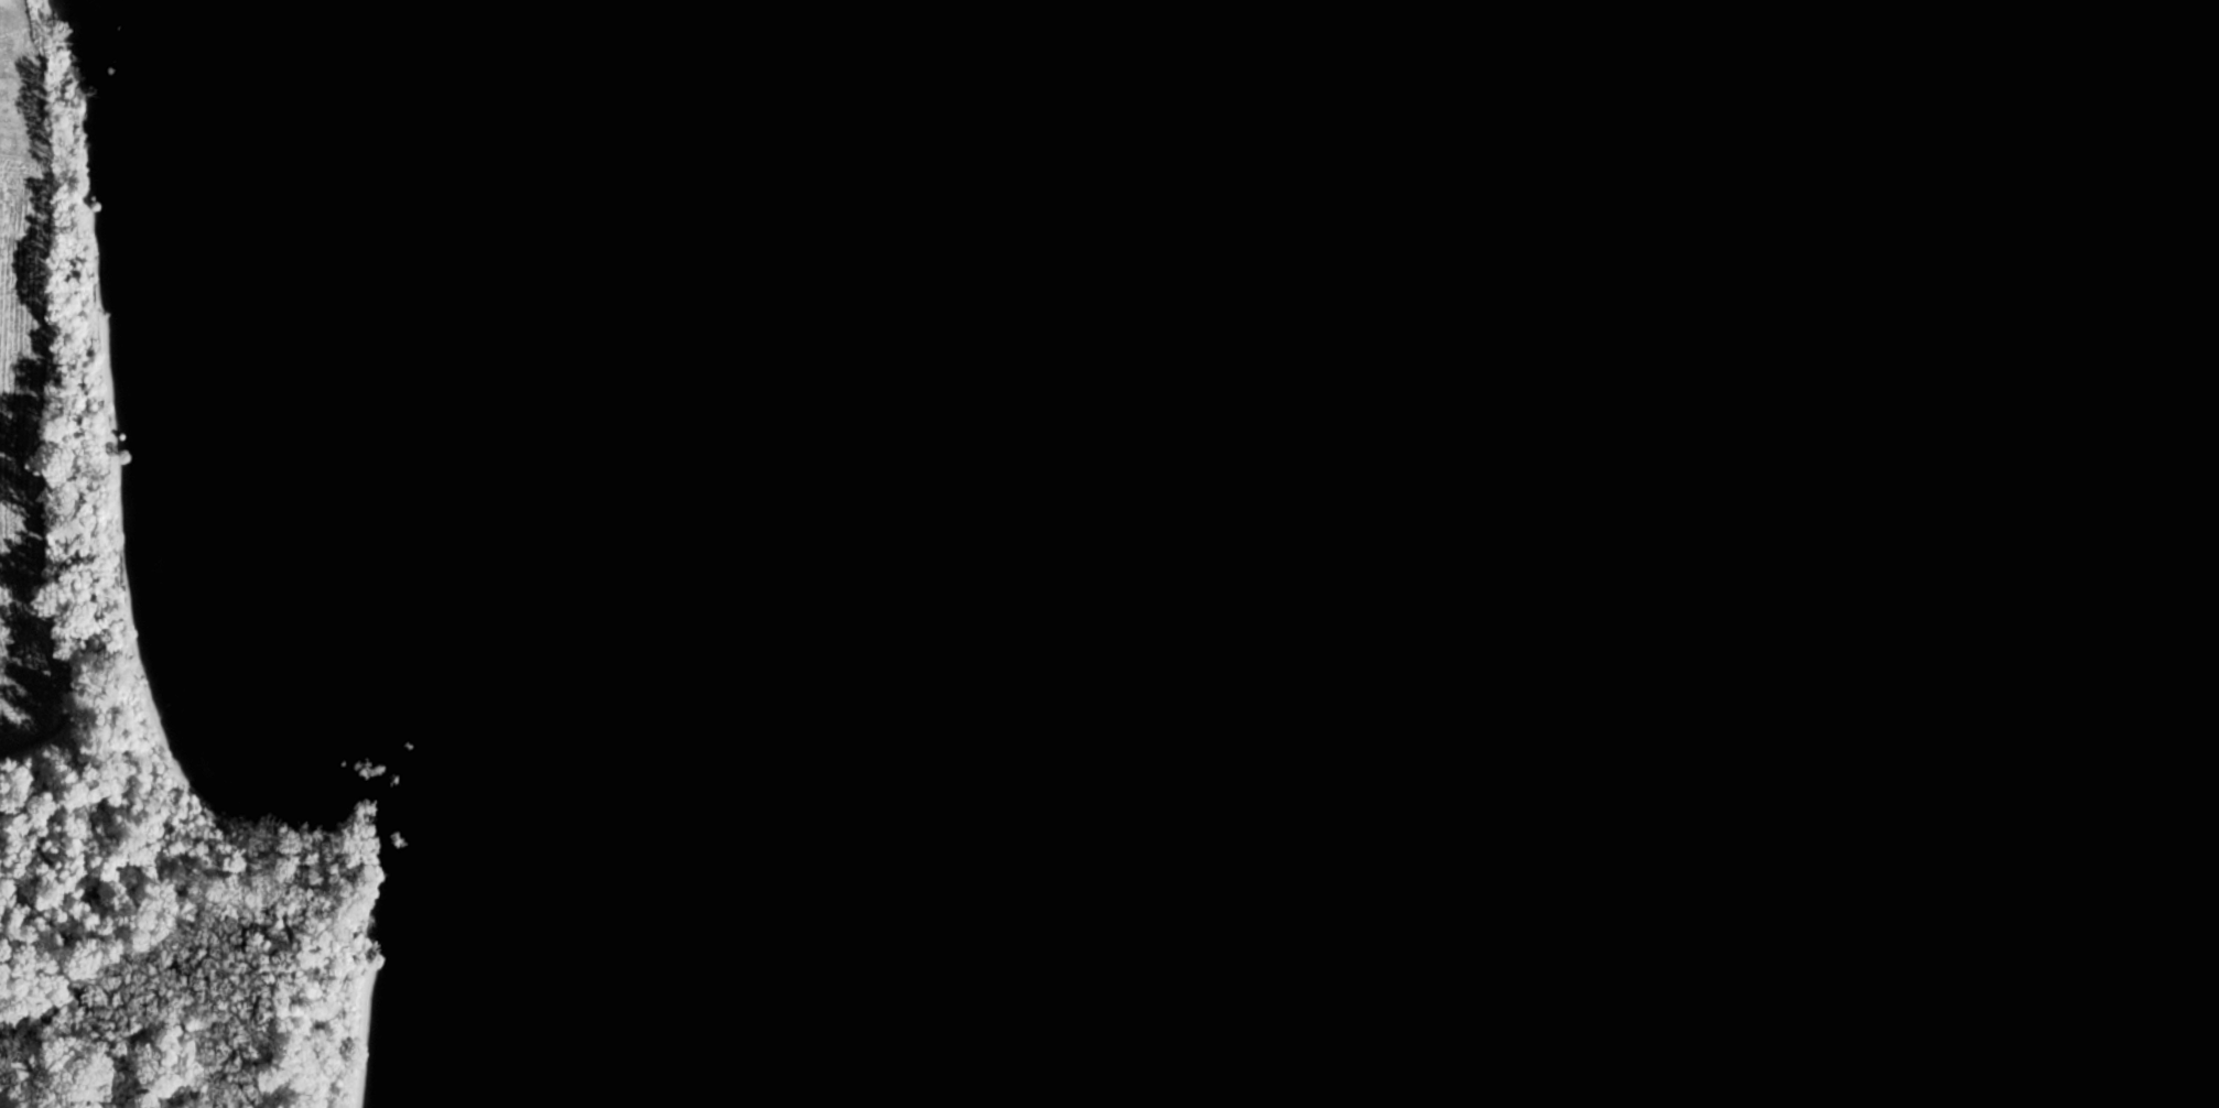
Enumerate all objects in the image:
park: (128, 720)
park: (22, 1100)

